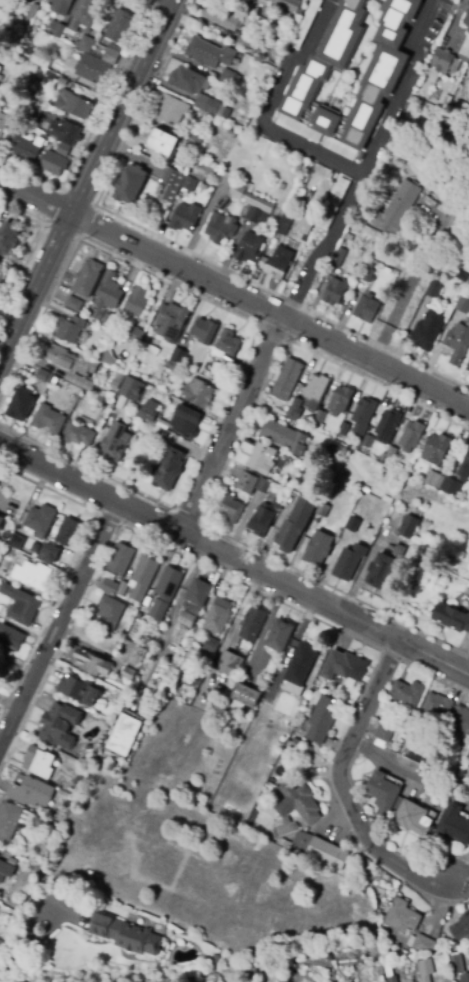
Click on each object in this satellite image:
building: (244, 2)
building: (468, 4)
building: (287, 5)
building: (61, 6)
building: (32, 12)
building: (299, 13)
building: (222, 16)
building: (87, 18)
building: (466, 24)
building: (119, 27)
building: (56, 29)
building: (246, 39)
building: (86, 43)
building: (99, 51)
building: (112, 54)
building: (210, 54)
building: (19, 59)
building: (450, 59)
building: (42, 60)
building: (389, 67)
building: (0, 69)
building: (328, 69)
building: (95, 70)
building: (226, 76)
building: (186, 80)
building: (63, 81)
building: (237, 83)
building: (426, 88)
building: (446, 101)
building: (248, 104)
building: (74, 106)
building: (21, 107)
building: (36, 107)
building: (212, 107)
building: (171, 110)
building: (4, 123)
building: (65, 132)
building: (231, 134)
building: (18, 135)
building: (196, 137)
building: (161, 142)
building: (28, 149)
building: (63, 150)
road: (330, 158)
building: (54, 164)
building: (183, 165)
building: (202, 170)
road: (86, 179)
building: (132, 184)
building: (173, 184)
building: (190, 184)
building: (201, 187)
building: (282, 187)
building: (250, 198)
building: (397, 208)
building: (184, 215)
building: (253, 215)
building: (306, 224)
building: (285, 225)
building: (220, 226)
building: (9, 239)
road: (33, 246)
road: (324, 246)
building: (249, 249)
building: (344, 255)
building: (276, 262)
building: (387, 271)
building: (368, 273)
building: (462, 277)
building: (87, 278)
building: (434, 289)
building: (334, 290)
road: (14, 292)
building: (109, 292)
road: (234, 294)
building: (138, 301)
building: (74, 304)
building: (462, 304)
building: (365, 307)
building: (109, 322)
building: (169, 322)
building: (70, 329)
building: (428, 330)
building: (205, 331)
building: (135, 335)
building: (228, 341)
building: (458, 342)
building: (179, 355)
building: (107, 357)
building: (70, 366)
building: (173, 367)
building: (467, 367)
building: (44, 376)
building: (286, 379)
building: (152, 382)
building: (113, 385)
building: (130, 388)
building: (314, 392)
building: (198, 394)
building: (340, 400)
building: (20, 406)
building: (147, 410)
building: (295, 410)
building: (363, 415)
building: (49, 419)
building: (318, 421)
building: (185, 422)
road: (230, 424)
building: (388, 424)
building: (164, 425)
building: (342, 433)
building: (78, 435)
building: (412, 436)
building: (285, 438)
building: (367, 441)
building: (115, 445)
building: (331, 449)
building: (436, 449)
building: (389, 456)
building: (261, 459)
building: (467, 461)
building: (166, 471)
building: (434, 480)
building: (246, 483)
building: (263, 486)
building: (450, 487)
building: (232, 508)
building: (323, 509)
building: (417, 513)
building: (40, 520)
building: (260, 520)
building: (1, 521)
building: (295, 523)
building: (409, 527)
building: (68, 531)
building: (6, 536)
building: (347, 536)
building: (19, 544)
building: (318, 548)
building: (48, 553)
road: (235, 559)
building: (349, 560)
building: (117, 567)
building: (382, 569)
building: (32, 575)
building: (142, 578)
building: (168, 582)
building: (123, 589)
building: (194, 601)
building: (21, 605)
building: (109, 613)
building: (217, 614)
building: (451, 618)
building: (253, 623)
road: (58, 624)
building: (278, 634)
building: (11, 638)
building: (211, 645)
building: (92, 663)
building: (299, 663)
building: (230, 664)
building: (343, 665)
building: (128, 674)
building: (193, 680)
building: (79, 690)
building: (223, 692)
building: (407, 693)
building: (244, 698)
building: (436, 705)
building: (265, 707)
building: (322, 719)
building: (460, 719)
building: (57, 723)
building: (386, 723)
building: (125, 735)
building: (292, 737)
building: (447, 739)
building: (308, 748)
building: (248, 761)
building: (38, 762)
road: (409, 771)
road: (342, 789)
building: (31, 792)
building: (383, 792)
building: (302, 802)
building: (397, 804)
building: (412, 818)
building: (12, 820)
building: (454, 825)
building: (315, 849)
building: (6, 871)
building: (402, 917)
building: (461, 927)
road: (30, 932)
building: (125, 935)
building: (386, 939)
building: (468, 941)
building: (422, 944)
building: (2, 946)
building: (327, 955)
building: (216, 959)
building: (455, 964)
building: (425, 970)
building: (390, 974)
building: (464, 977)

